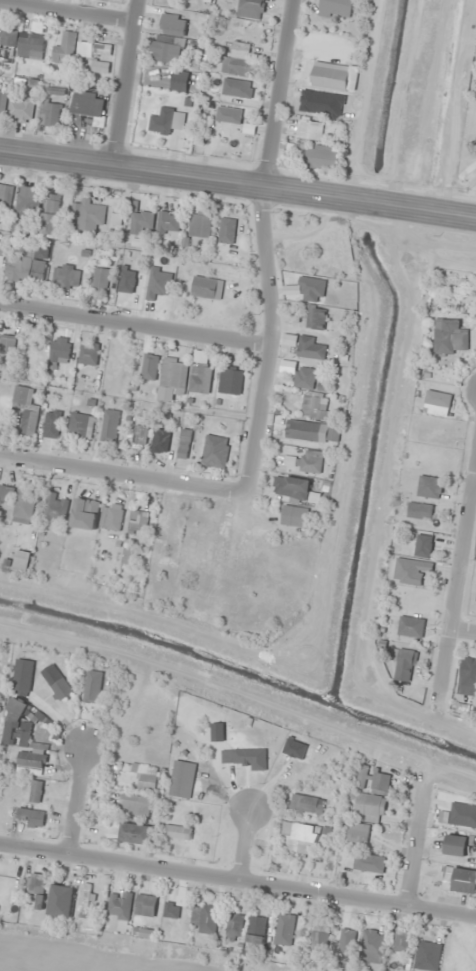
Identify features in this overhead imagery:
building: (335, 8)
building: (249, 9)
road: (66, 11)
building: (7, 37)
building: (169, 39)
building: (30, 45)
building: (63, 49)
building: (94, 49)
building: (235, 59)
building: (100, 66)
building: (334, 76)
road: (122, 82)
building: (236, 87)
road: (282, 95)
building: (2, 98)
building: (87, 103)
building: (19, 108)
building: (48, 113)
building: (228, 115)
building: (166, 123)
building: (309, 129)
building: (321, 157)
road: (237, 185)
building: (5, 196)
building: (27, 203)
building: (87, 213)
building: (50, 215)
building: (141, 222)
building: (168, 222)
building: (199, 224)
building: (226, 230)
building: (1, 253)
building: (27, 263)
road: (269, 268)
building: (65, 276)
building: (99, 278)
building: (126, 279)
building: (162, 282)
building: (206, 287)
building: (311, 288)
building: (314, 318)
road: (134, 325)
building: (449, 337)
building: (6, 346)
building: (309, 348)
building: (58, 350)
building: (90, 354)
building: (149, 367)
building: (200, 373)
building: (173, 376)
building: (304, 377)
building: (230, 381)
building: (436, 402)
building: (315, 406)
building: (25, 408)
road: (257, 418)
building: (51, 423)
building: (80, 424)
building: (109, 425)
building: (311, 430)
building: (138, 436)
building: (160, 441)
building: (183, 445)
building: (214, 451)
building: (305, 461)
road: (122, 473)
building: (428, 486)
building: (290, 487)
building: (6, 493)
building: (23, 505)
building: (54, 508)
building: (419, 510)
building: (84, 513)
building: (293, 515)
building: (110, 516)
building: (137, 520)
building: (168, 522)
building: (422, 545)
building: (21, 560)
building: (409, 570)
road: (459, 589)
building: (475, 591)
building: (410, 626)
road: (464, 631)
building: (403, 664)
building: (467, 671)
building: (22, 675)
building: (55, 682)
building: (92, 686)
building: (16, 725)
building: (31, 760)
building: (142, 773)
building: (181, 778)
building: (372, 779)
building: (35, 791)
road: (76, 801)
building: (305, 804)
building: (134, 805)
building: (369, 805)
building: (462, 815)
building: (31, 816)
building: (177, 831)
building: (356, 832)
building: (135, 833)
building: (300, 836)
building: (455, 845)
road: (244, 847)
road: (418, 848)
building: (368, 863)
building: (458, 879)
road: (237, 881)
building: (34, 883)
building: (85, 900)
building: (60, 901)
building: (144, 905)
building: (117, 911)
building: (203, 918)
building: (233, 928)
building: (284, 929)
building: (145, 932)
building: (255, 934)
building: (346, 941)
building: (401, 941)
building: (316, 943)
building: (371, 945)
building: (427, 955)

